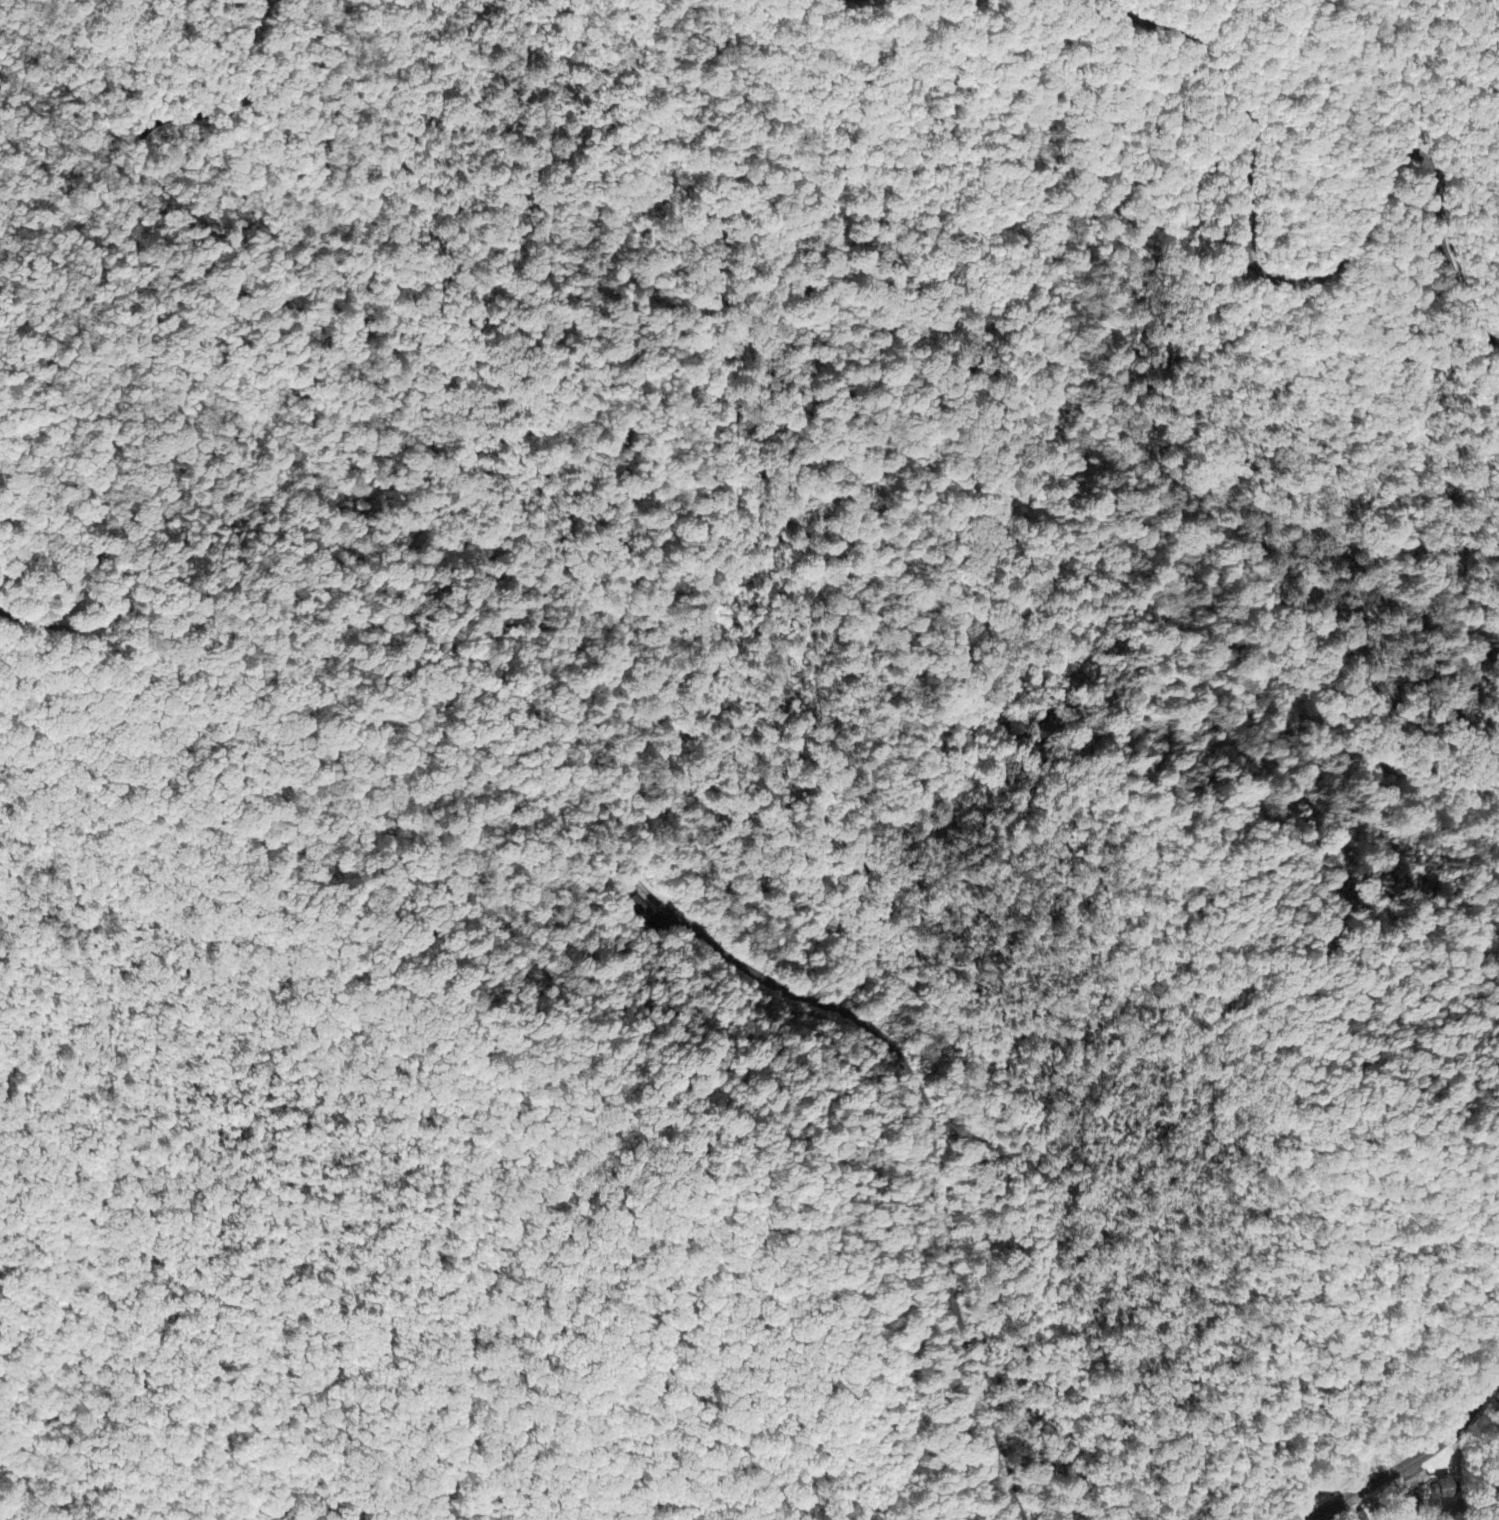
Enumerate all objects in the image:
road: (1297, 282)
road: (140, 337)
road: (932, 1151)
road: (1417, 1459)

